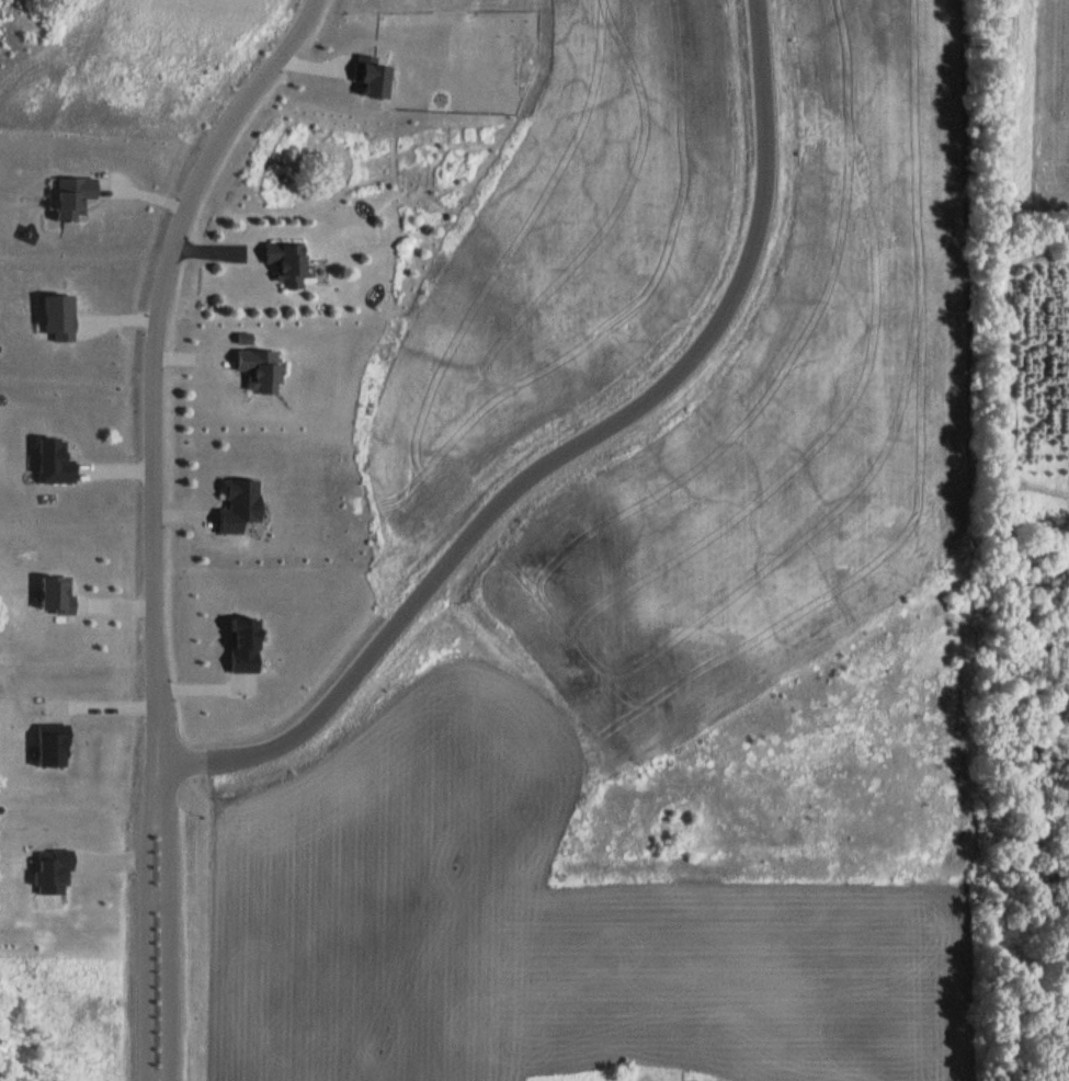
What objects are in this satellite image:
building: (69, 198)
building: (288, 264)
road: (157, 519)

